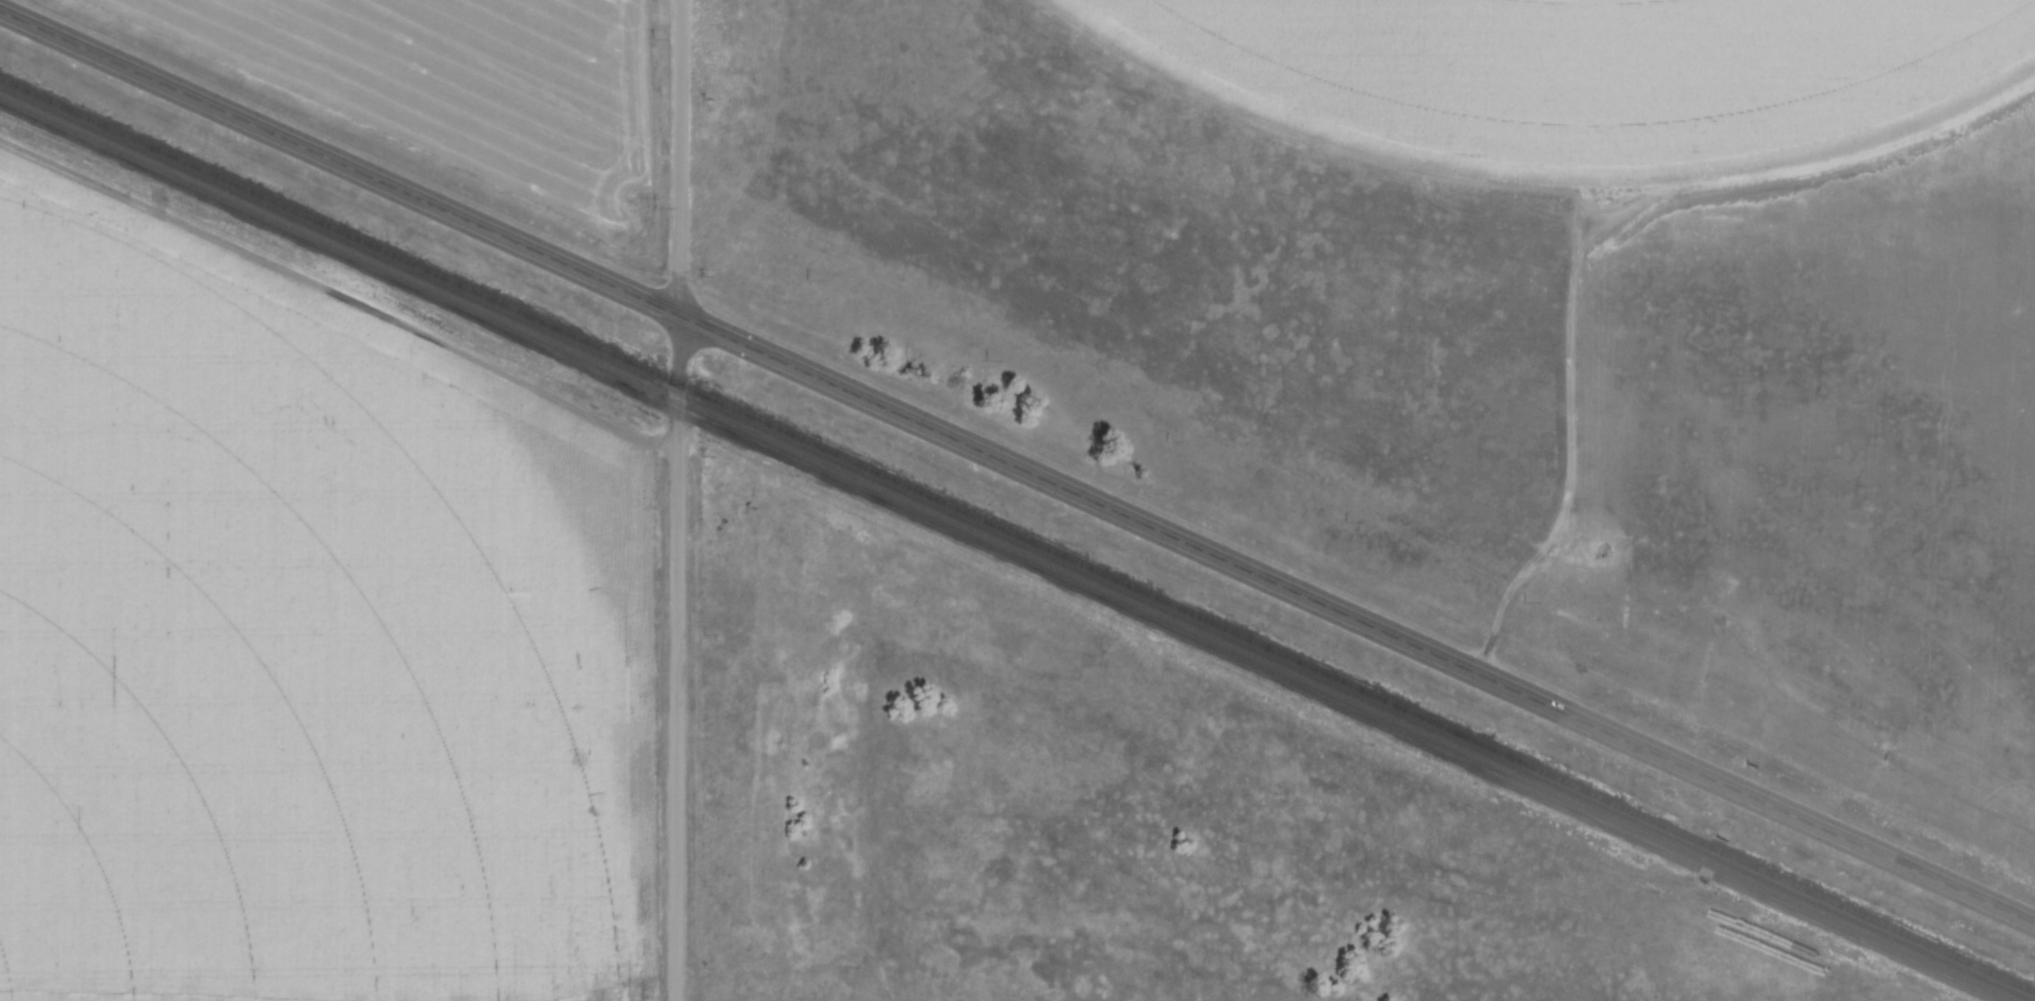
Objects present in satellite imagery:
road: (1017, 464)
road: (681, 500)
railway: (1017, 534)
railway: (1012, 546)

